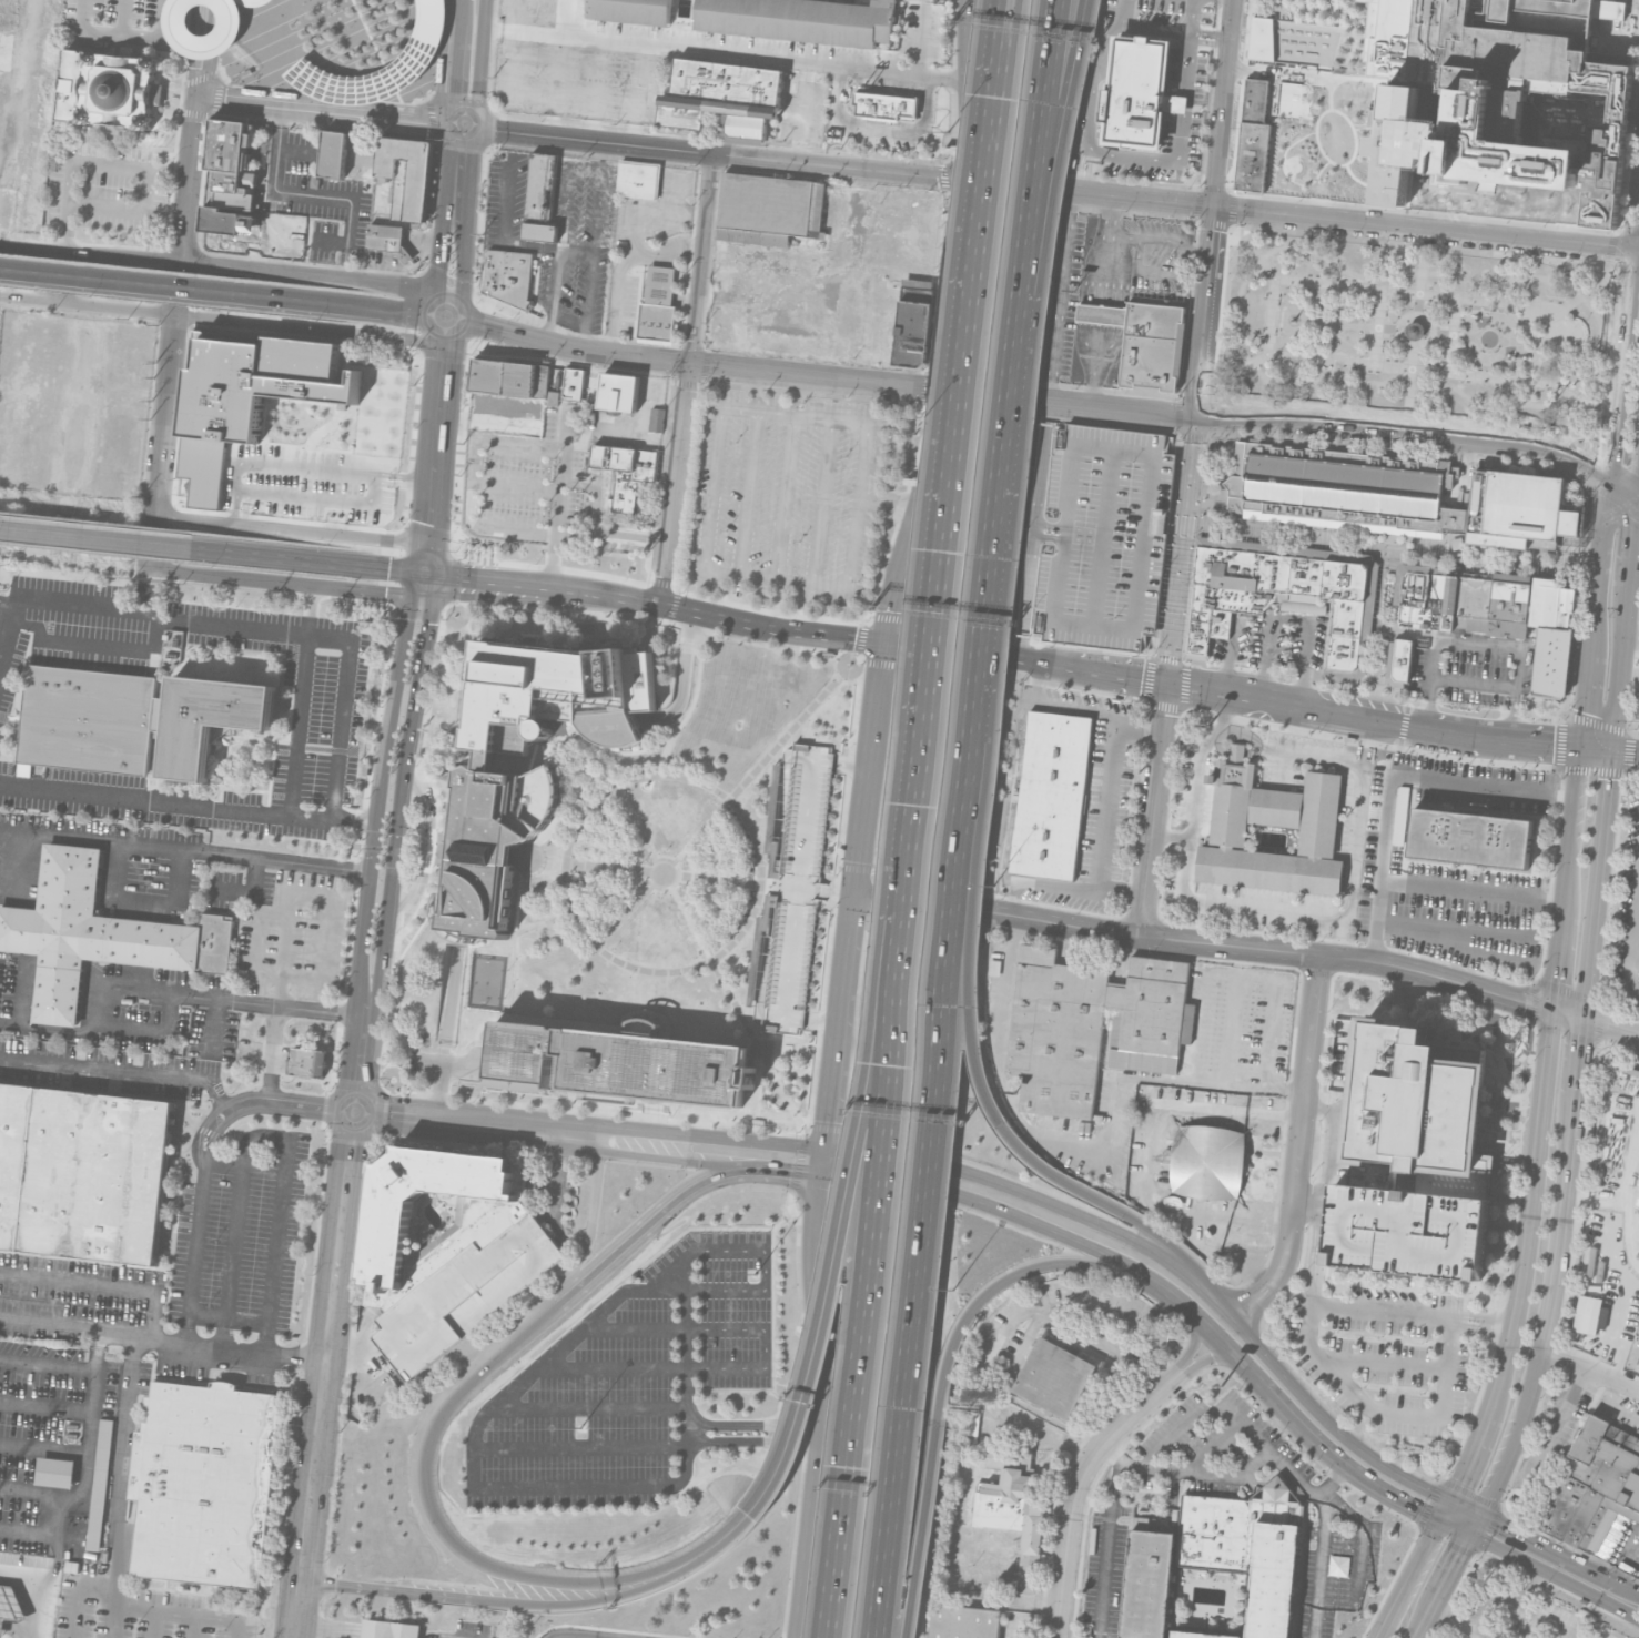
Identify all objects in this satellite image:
road: (209, 0)
road: (1241, 0)
building: (253, 1)
road: (219, 3)
building: (631, 10)
road: (208, 12)
road: (564, 17)
road: (217, 18)
building: (803, 20)
road: (206, 28)
building: (229, 29)
road: (1162, 29)
road: (1611, 31)
road: (124, 34)
road: (921, 38)
building: (1285, 39)
road: (215, 41)
road: (205, 44)
building: (421, 51)
road: (724, 53)
building: (608, 60)
road: (479, 63)
road: (208, 77)
road: (558, 84)
road: (1096, 88)
building: (108, 89)
building: (1137, 92)
road: (178, 94)
traffic signals: (452, 94)
road: (640, 94)
building: (727, 95)
building: (1501, 101)
road: (1228, 103)
building: (887, 104)
road: (324, 111)
road: (805, 113)
road: (462, 125)
road: (879, 128)
building: (1254, 136)
road: (1628, 138)
helipad: (1406, 139)
road: (1178, 143)
building: (334, 153)
traffic signals: (473, 154)
road: (192, 158)
road: (446, 158)
building: (230, 162)
road: (123, 165)
road: (844, 166)
road: (1082, 172)
building: (406, 173)
road: (471, 175)
traffic signals: (962, 178)
building: (639, 179)
parking lot: (104, 188)
road: (314, 193)
road: (960, 194)
building: (543, 196)
traffic signals: (1216, 206)
building: (771, 209)
road: (1111, 214)
building: (222, 219)
road: (1231, 226)
road: (1427, 228)
building: (386, 235)
road: (1147, 237)
road: (1212, 241)
road: (1198, 244)
traffic signals: (1635, 250)
road: (1025, 253)
road: (1043, 253)
road: (1610, 254)
road: (701, 257)
road: (219, 263)
road: (1103, 267)
traffic signals: (439, 270)
road: (1422, 271)
road: (1159, 272)
road: (463, 273)
building: (510, 275)
road: (123, 282)
road: (1588, 293)
road: (1059, 295)
road: (342, 305)
building: (659, 306)
road: (1298, 310)
building: (1102, 313)
road: (1099, 314)
road: (216, 318)
building: (914, 323)
traffic signals: (479, 325)
road: (1378, 326)
park: (1415, 328)
building: (1415, 330)
road: (1441, 333)
road: (1453, 335)
road: (1623, 341)
building: (1152, 345)
road: (1415, 345)
road: (1202, 347)
road: (1257, 358)
building: (304, 360)
traffic signals: (456, 361)
road: (688, 361)
traffic signals: (690, 362)
road: (1092, 365)
road: (957, 368)
building: (514, 377)
road: (1557, 383)
building: (575, 384)
road: (1410, 386)
traffic signals: (943, 388)
road: (429, 390)
building: (620, 391)
road: (1217, 397)
road: (1069, 403)
road: (1550, 407)
road: (1576, 407)
road: (1048, 411)
road: (166, 414)
road: (796, 415)
traffic signals: (1194, 417)
building: (657, 418)
road: (1405, 425)
road: (448, 446)
road: (928, 449)
road: (1585, 459)
road: (347, 466)
building: (628, 472)
traffic signals: (1609, 473)
road: (1174, 477)
road: (1623, 482)
road: (676, 483)
building: (1343, 486)
road: (714, 488)
traffic signals: (1638, 492)
road: (748, 495)
parking lot: (786, 495)
road: (822, 501)
road: (785, 502)
road: (887, 504)
road: (858, 505)
building: (1518, 509)
road: (417, 516)
road: (285, 528)
road: (95, 536)
building: (1094, 536)
parking lot: (1094, 536)
road: (993, 538)
traffic signals: (415, 546)
road: (1383, 546)
road: (1633, 546)
road: (1182, 549)
road: (302, 557)
traffic signals: (382, 566)
road: (457, 566)
road: (425, 570)
road: (776, 577)
road: (897, 577)
building: (1344, 580)
road: (280, 583)
building: (1243, 587)
road: (454, 588)
building: (1415, 589)
building: (1568, 599)
road: (660, 603)
building: (1449, 603)
building: (1473, 604)
building: (1427, 606)
building: (1545, 606)
building: (1510, 608)
road: (1594, 608)
road: (668, 614)
road: (1294, 614)
road: (427, 615)
building: (1347, 618)
road: (656, 619)
building: (1566, 620)
road: (208, 624)
traffic signals: (429, 625)
road: (9, 630)
road: (1379, 631)
road: (1408, 633)
road: (1631, 634)
road: (1479, 639)
traffic signals: (881, 643)
parking lot: (1275, 644)
road: (95, 645)
road: (1019, 648)
road: (860, 649)
building: (1343, 653)
road: (975, 654)
road: (1232, 657)
road: (869, 659)
building: (1403, 659)
building: (1551, 663)
road: (1629, 667)
parking lot: (1471, 669)
road: (282, 673)
road: (1619, 674)
road: (1120, 675)
road: (682, 679)
road: (1430, 680)
traffic signals: (1170, 681)
road: (1475, 684)
road: (1222, 690)
road: (1517, 690)
building: (557, 692)
road: (300, 701)
road: (1063, 706)
building: (1637, 706)
road: (1467, 710)
traffic signals: (1582, 711)
road: (1352, 714)
building: (131, 719)
road: (387, 719)
road: (795, 729)
road: (1444, 729)
road: (341, 730)
road: (246, 737)
road: (1485, 737)
road: (665, 738)
road: (1546, 741)
traffic signals: (1554, 742)
road: (1596, 747)
road: (1626, 748)
road: (849, 764)
road: (866, 768)
road: (1577, 768)
road: (1618, 771)
road: (431, 774)
parking lot: (939, 775)
road: (1389, 776)
road: (1195, 779)
traffic signals: (1609, 779)
road: (208, 786)
road: (402, 791)
building: (1050, 796)
road: (164, 802)
road: (567, 802)
road: (1154, 808)
road: (1107, 809)
building: (1400, 813)
road: (451, 821)
building: (1305, 826)
road: (697, 838)
building: (1471, 838)
road: (1170, 839)
road: (168, 847)
building: (484, 848)
road: (1354, 856)
road: (645, 872)
road: (975, 881)
road: (1598, 881)
road: (1042, 883)
road: (762, 886)
road: (771, 886)
building: (793, 888)
parking lot: (793, 888)
road: (798, 889)
road: (1471, 890)
road: (840, 892)
road: (290, 894)
road: (831, 894)
traffic signals: (852, 894)
road: (1565, 899)
road: (631, 911)
parking lot: (1627, 912)
road: (1085, 927)
building: (98, 933)
road: (1453, 936)
road: (363, 939)
road: (701, 940)
road: (1633, 951)
road: (1437, 975)
road: (464, 977)
park: (487, 980)
road: (123, 989)
road: (1633, 997)
road: (637, 998)
road: (662, 1001)
traffic signals: (1554, 1007)
road: (322, 1011)
road: (1568, 1011)
traffic signals: (1584, 1017)
road: (528, 1018)
road: (819, 1021)
road: (838, 1021)
road: (1611, 1025)
road: (389, 1027)
road: (480, 1027)
building: (1090, 1027)
parking lot: (912, 1030)
road: (446, 1033)
road: (1230, 1052)
road: (273, 1053)
road: (361, 1059)
building: (307, 1062)
building: (624, 1062)
road: (455, 1066)
road: (121, 1071)
road: (866, 1071)
road: (280, 1103)
road: (934, 1103)
road: (1321, 1106)
road: (581, 1110)
traffic signals: (356, 1113)
building: (1422, 1113)
road: (1335, 1115)
traffic signals: (827, 1121)
road: (496, 1126)
road: (730, 1136)
road: (1046, 1137)
road: (267, 1139)
road: (1299, 1147)
road: (801, 1152)
traffic signals: (851, 1153)
road: (697, 1160)
building: (1207, 1162)
building: (82, 1172)
traffic signals: (789, 1172)
road: (790, 1172)
building: (1638, 1181)
road: (559, 1182)
road: (879, 1189)
road: (1031, 1197)
building: (1637, 1202)
road: (1313, 1204)
road: (1012, 1214)
road: (785, 1216)
building: (490, 1221)
road: (650, 1221)
road: (1143, 1224)
building: (1408, 1231)
parking lot: (1408, 1231)
road: (196, 1234)
road: (584, 1242)
road: (698, 1248)
road: (1316, 1254)
road: (1524, 1260)
road: (688, 1272)
road: (1554, 1272)
road: (1014, 1273)
road: (100, 1283)
road: (727, 1290)
building: (467, 1294)
parking lot: (467, 1294)
parking lot: (883, 1294)
road: (1225, 1310)
road: (1414, 1314)
road: (674, 1328)
road: (571, 1336)
road: (163, 1341)
road: (330, 1347)
road: (98, 1349)
road: (356, 1354)
parking lot: (1387, 1356)
road: (48, 1362)
road: (1382, 1363)
road: (710, 1368)
road: (1447, 1368)
road: (1590, 1369)
building: (1055, 1378)
parking lot: (630, 1381)
road: (1349, 1388)
road: (823, 1393)
road: (47, 1404)
road: (589, 1407)
road: (1216, 1407)
road: (1567, 1407)
road: (1329, 1422)
road: (755, 1424)
road: (1301, 1427)
road: (753, 1442)
road: (44, 1445)
road: (580, 1446)
road: (1095, 1453)
road: (778, 1457)
building: (55, 1472)
road: (1211, 1475)
road: (87, 1478)
traffic signals: (1460, 1480)
road: (423, 1483)
road: (644, 1483)
building: (205, 1484)
building: (100, 1487)
road: (118, 1487)
building: (1594, 1487)
road: (37, 1492)
building: (1013, 1506)
road: (1465, 1509)
road: (1444, 1513)
traffic signals: (1420, 1514)
traffic signals: (1500, 1526)
road: (1476, 1527)
road: (1455, 1530)
road: (724, 1531)
road: (920, 1531)
road: (1106, 1548)
road: (1324, 1549)
road: (1560, 1555)
traffic signals: (1460, 1556)
building: (1220, 1559)
road: (1637, 1560)
road: (1630, 1569)
road: (655, 1571)
road: (1555, 1578)
road: (1408, 1580)
road: (1443, 1587)
road: (36, 1593)
road: (1499, 1600)
road: (543, 1606)
road: (301, 1610)
road: (182, 1615)
building: (962, 1622)
road: (1059, 1626)
road: (331, 1629)
building: (389, 1629)
road: (383, 1635)
building: (1201, 1635)
road: (1473, 1635)

